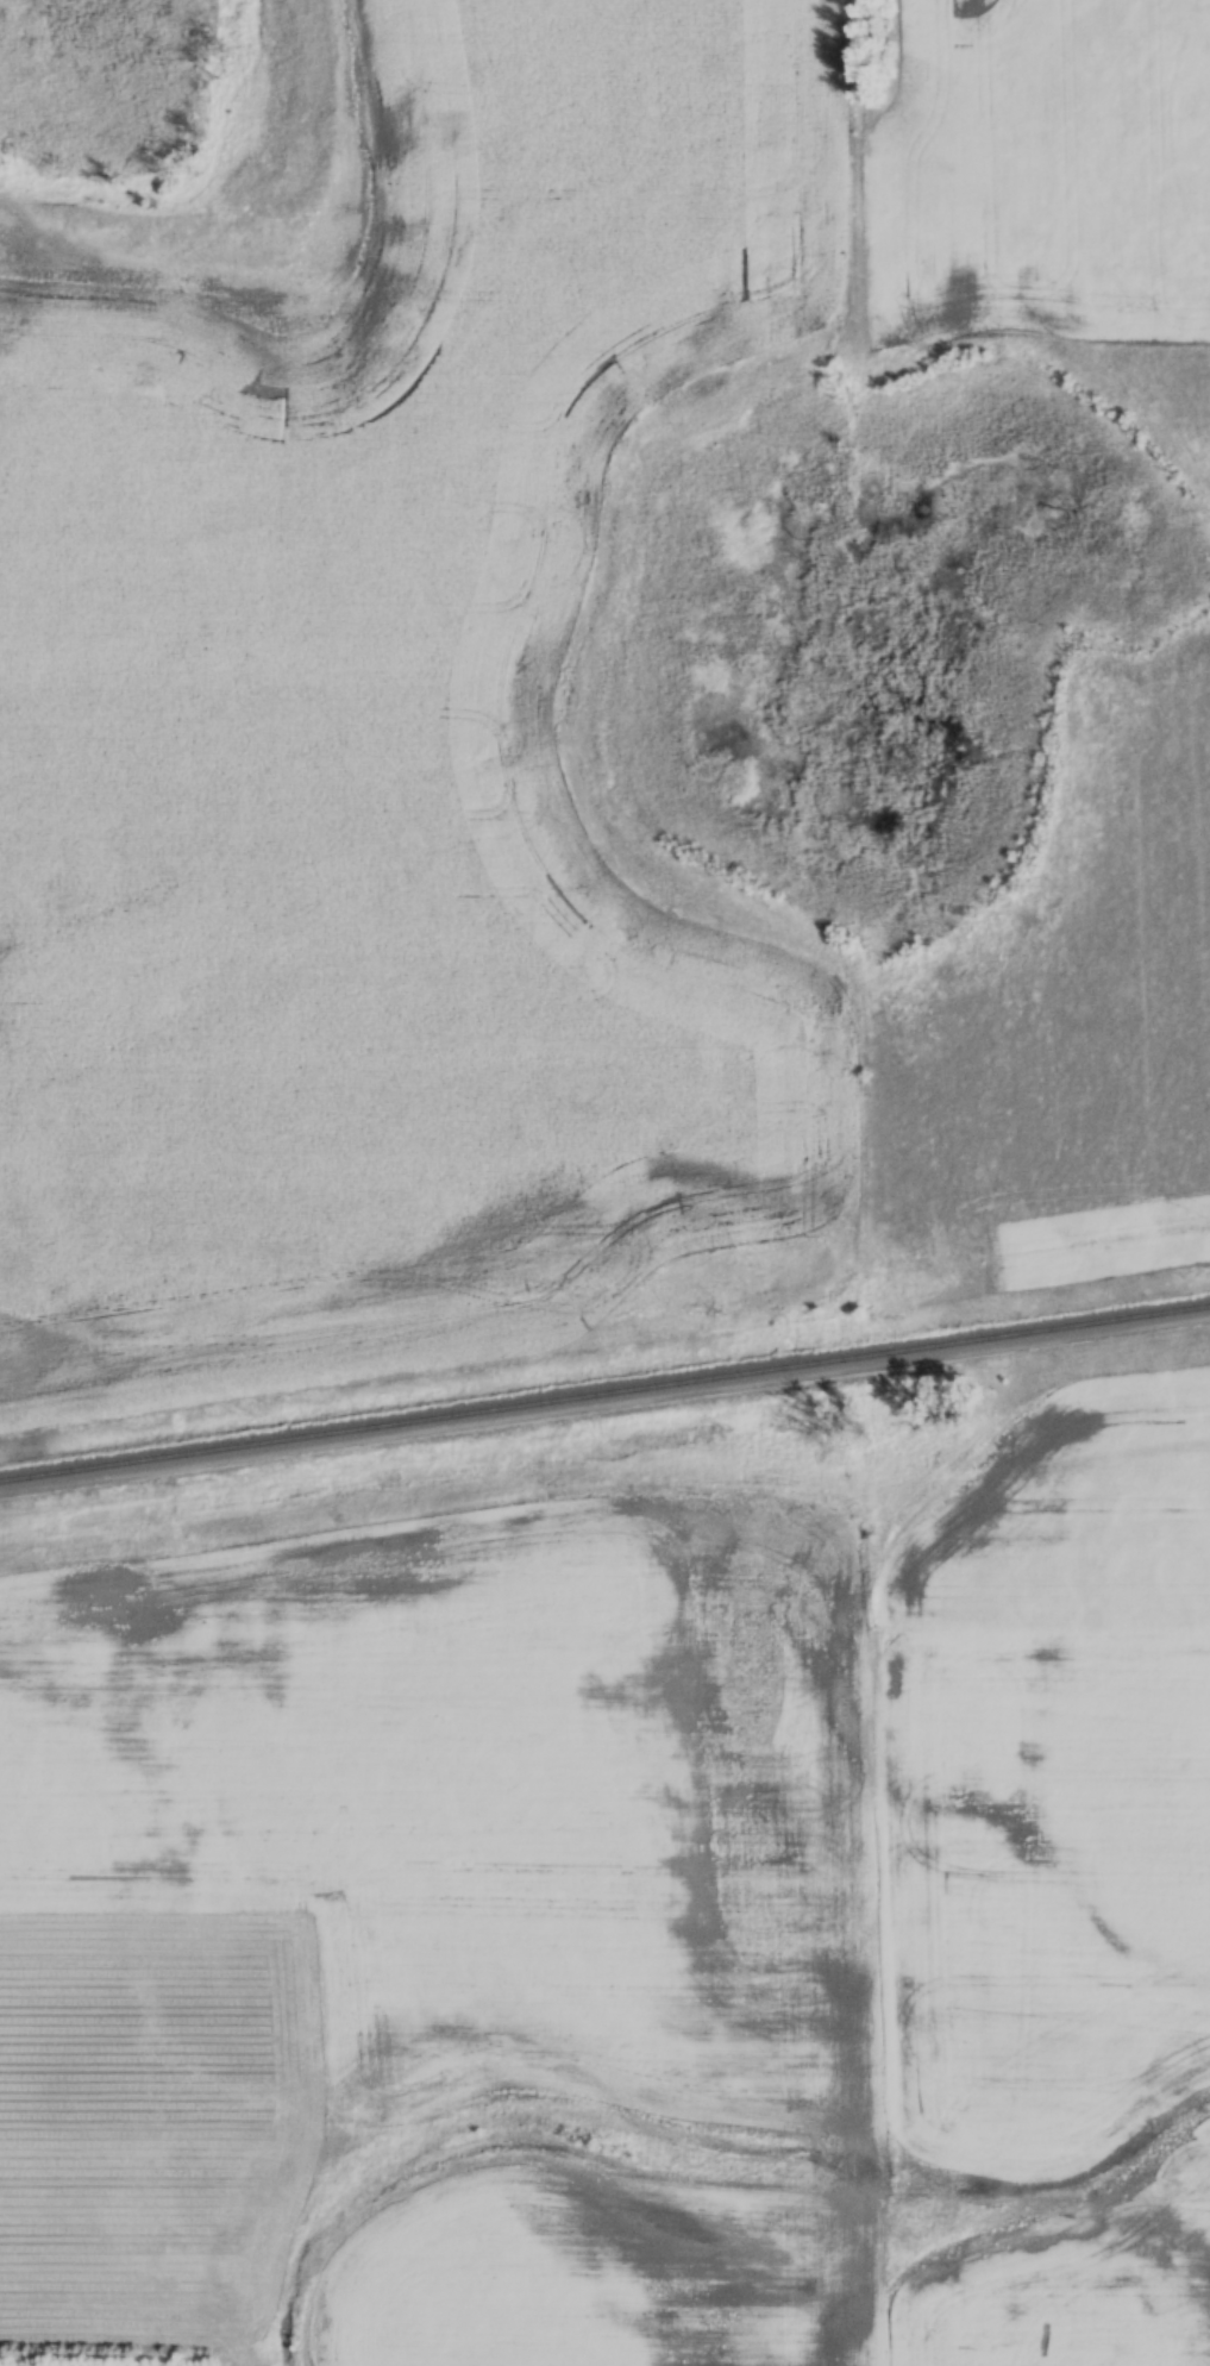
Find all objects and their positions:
railway: (604, 1392)

